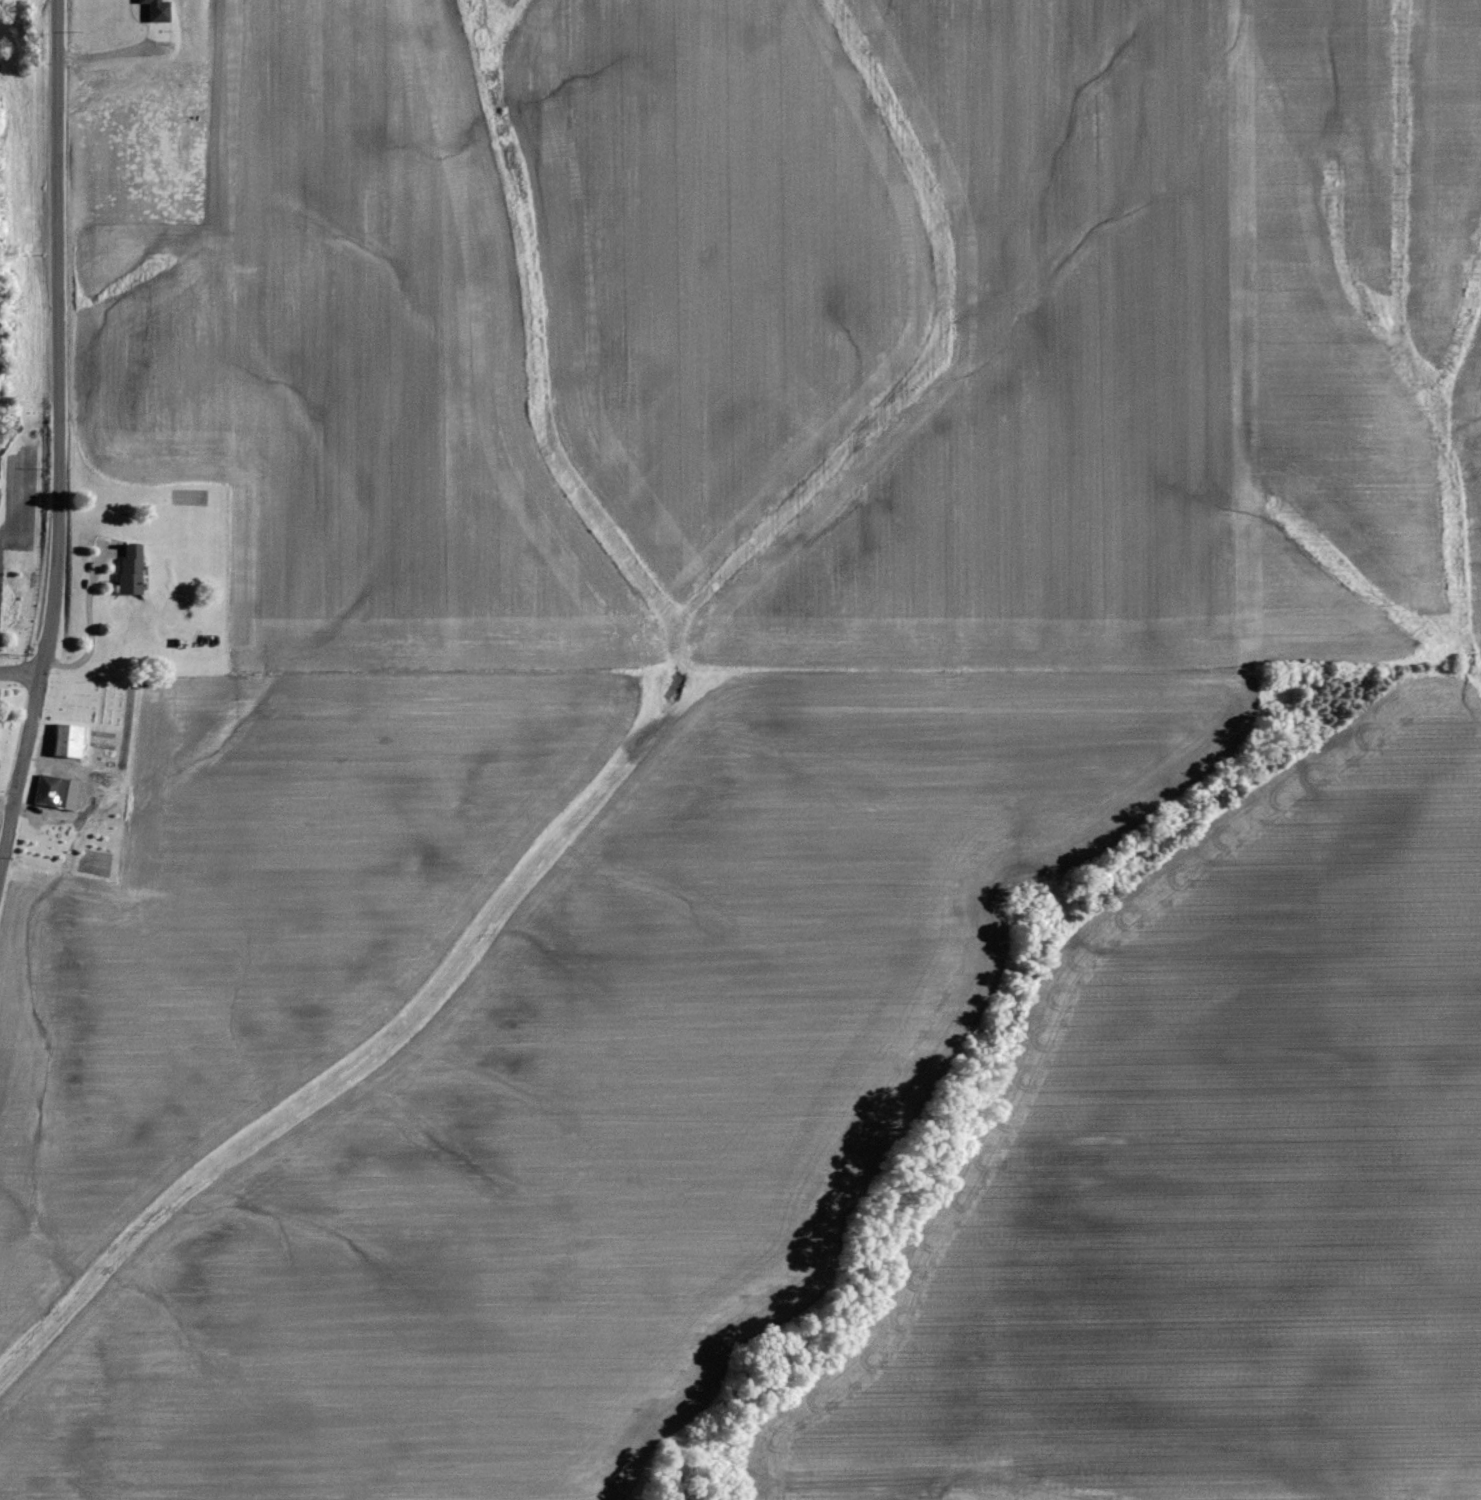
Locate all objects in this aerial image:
building: (154, 10)
road: (58, 441)
building: (127, 570)
road: (20, 671)
building: (64, 741)
building: (53, 793)

